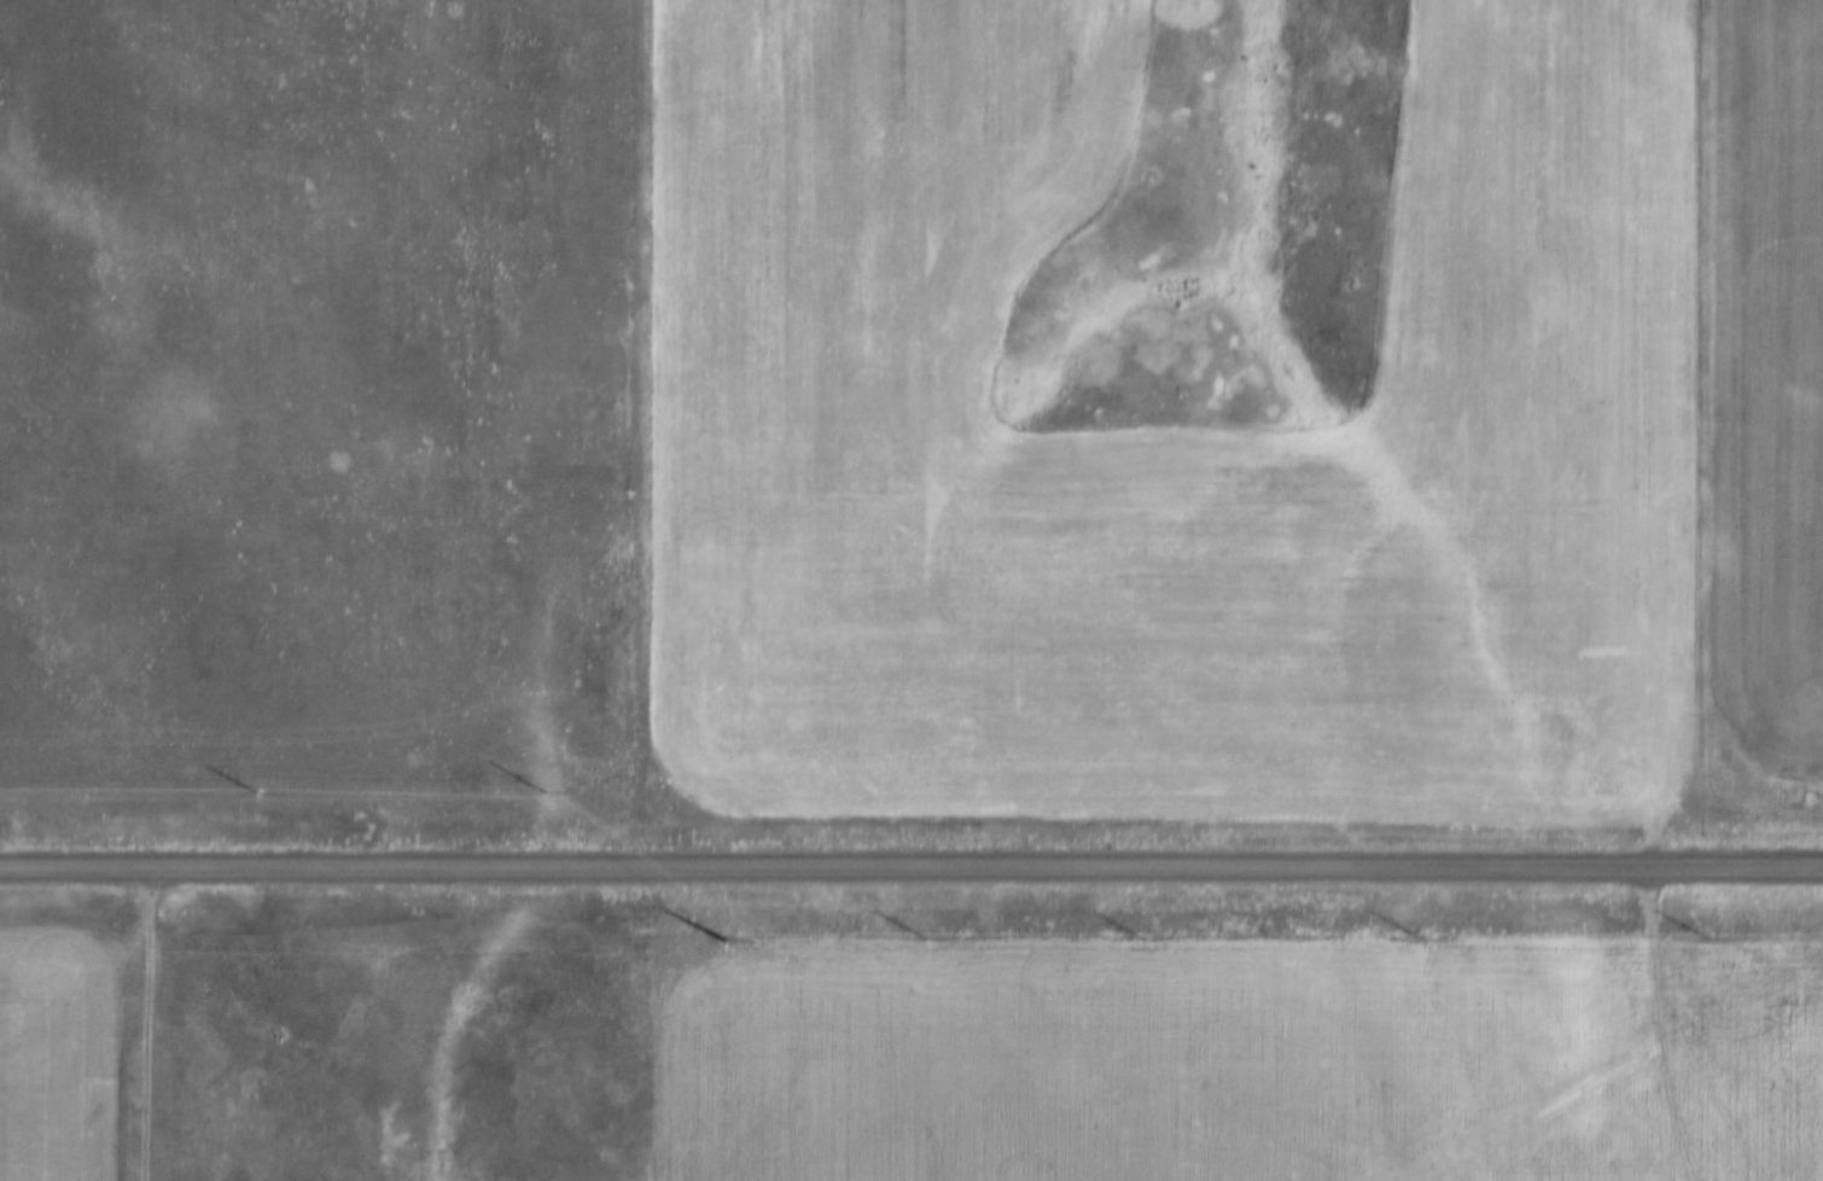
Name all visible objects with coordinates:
road: (911, 869)

